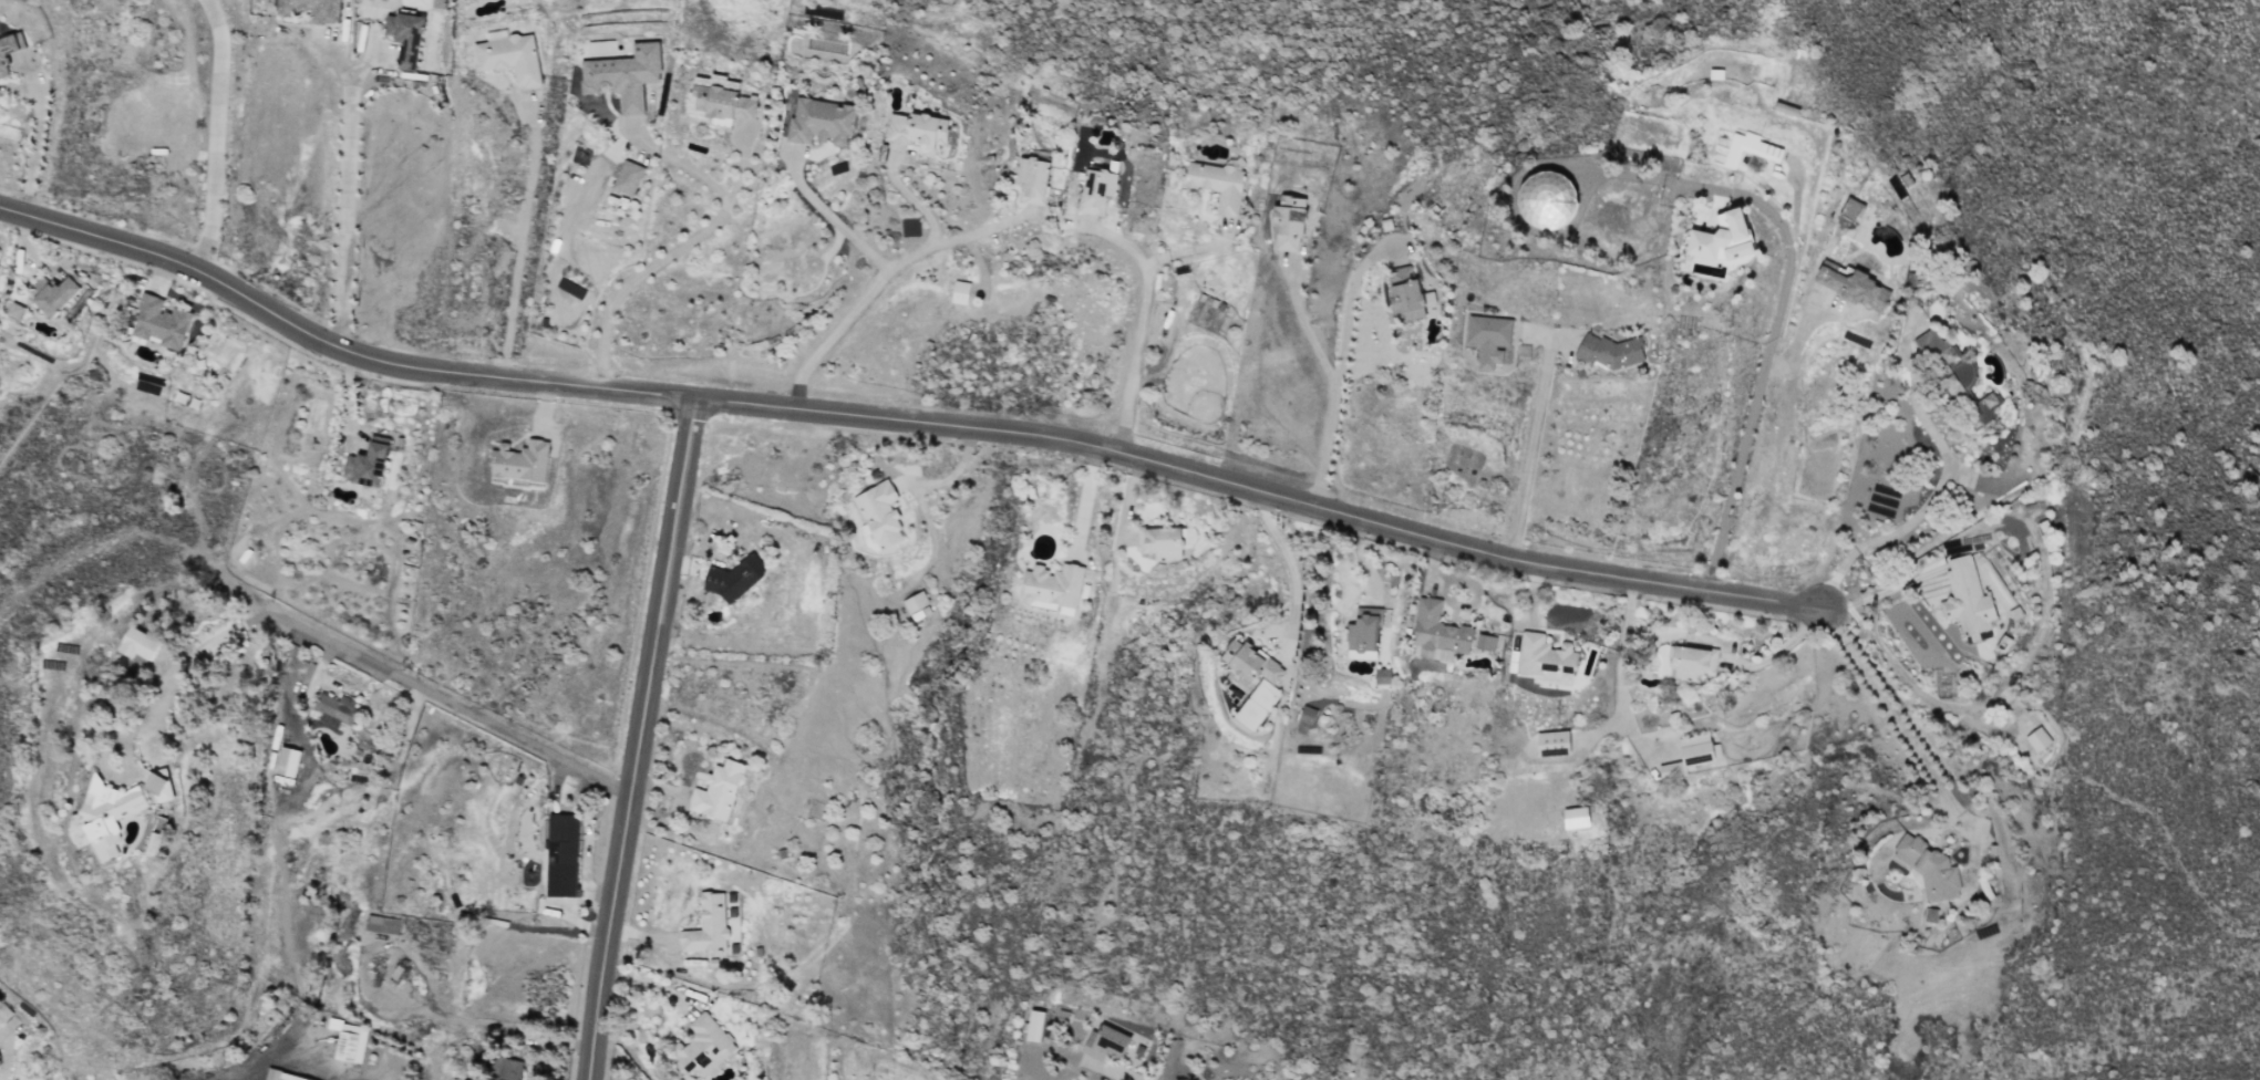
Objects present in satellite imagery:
building: (443, 3)
building: (313, 9)
building: (411, 37)
building: (10, 53)
building: (510, 56)
road: (341, 62)
building: (617, 74)
building: (711, 96)
building: (812, 121)
building: (909, 128)
road: (210, 133)
road: (34, 137)
building: (1744, 148)
road: (740, 164)
building: (623, 177)
building: (1030, 179)
building: (1215, 185)
building: (1094, 190)
road: (342, 193)
road: (1741, 194)
road: (910, 198)
road: (833, 220)
building: (1286, 224)
building: (1713, 237)
road: (522, 241)
road: (681, 246)
road: (1189, 249)
road: (888, 269)
building: (1851, 288)
building: (958, 292)
building: (60, 293)
building: (1401, 293)
building: (1426, 299)
road: (1353, 300)
building: (20, 310)
road: (1139, 319)
building: (165, 322)
road: (1312, 323)
building: (1487, 339)
road: (1795, 342)
building: (1933, 347)
building: (1963, 395)
road: (904, 417)
road: (1328, 438)
road: (1530, 440)
building: (518, 461)
road: (1737, 463)
building: (363, 465)
road: (1085, 497)
building: (877, 515)
road: (1903, 526)
building: (1164, 542)
road: (1288, 561)
building: (732, 580)
building: (1051, 585)
building: (1964, 600)
building: (915, 605)
building: (1436, 634)
building: (1361, 635)
building: (1484, 643)
building: (146, 644)
road: (1779, 650)
building: (1544, 657)
road: (175, 662)
building: (1248, 662)
building: (1688, 663)
road: (1620, 673)
road: (446, 700)
building: (1256, 706)
building: (334, 707)
building: (1306, 715)
road: (1907, 736)
road: (638, 738)
building: (2036, 739)
building: (1550, 744)
building: (1691, 754)
building: (282, 762)
building: (174, 785)
building: (715, 791)
building: (127, 814)
building: (558, 855)
building: (1928, 869)
building: (1928, 916)
building: (381, 925)
building: (705, 925)
building: (1, 1022)
building: (344, 1042)
building: (1103, 1043)
building: (701, 1047)
road: (7, 1057)
building: (508, 1070)
building: (279, 1077)
road: (1159, 1078)

